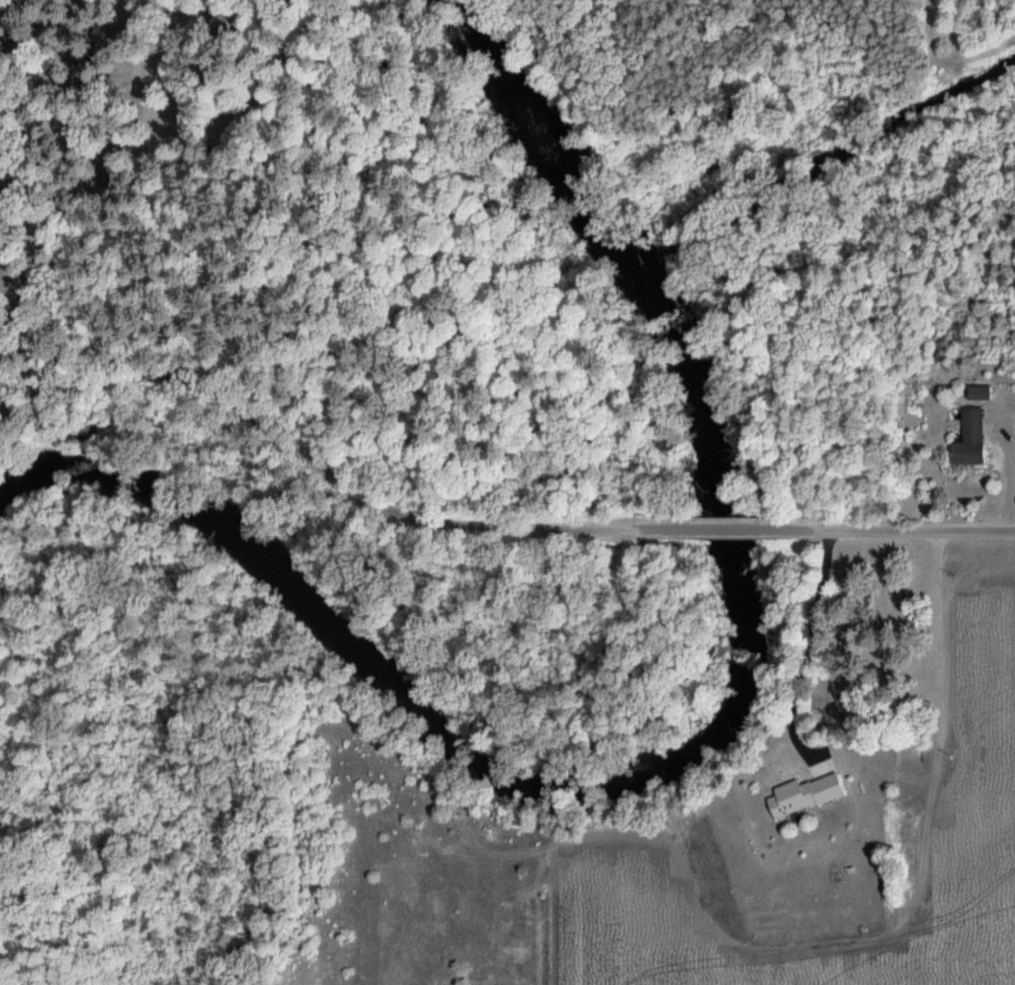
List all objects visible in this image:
building: (90, 58)
road: (888, 101)
road: (908, 113)
road: (930, 123)
building: (114, 166)
road: (13, 192)
road: (184, 216)
park: (459, 262)
building: (971, 439)
road: (308, 463)
river: (25, 472)
road: (817, 503)
road: (730, 527)
road: (791, 527)
road: (666, 528)
road: (917, 528)
river: (390, 576)
park: (870, 643)
road: (808, 647)
river: (718, 722)
building: (805, 791)

